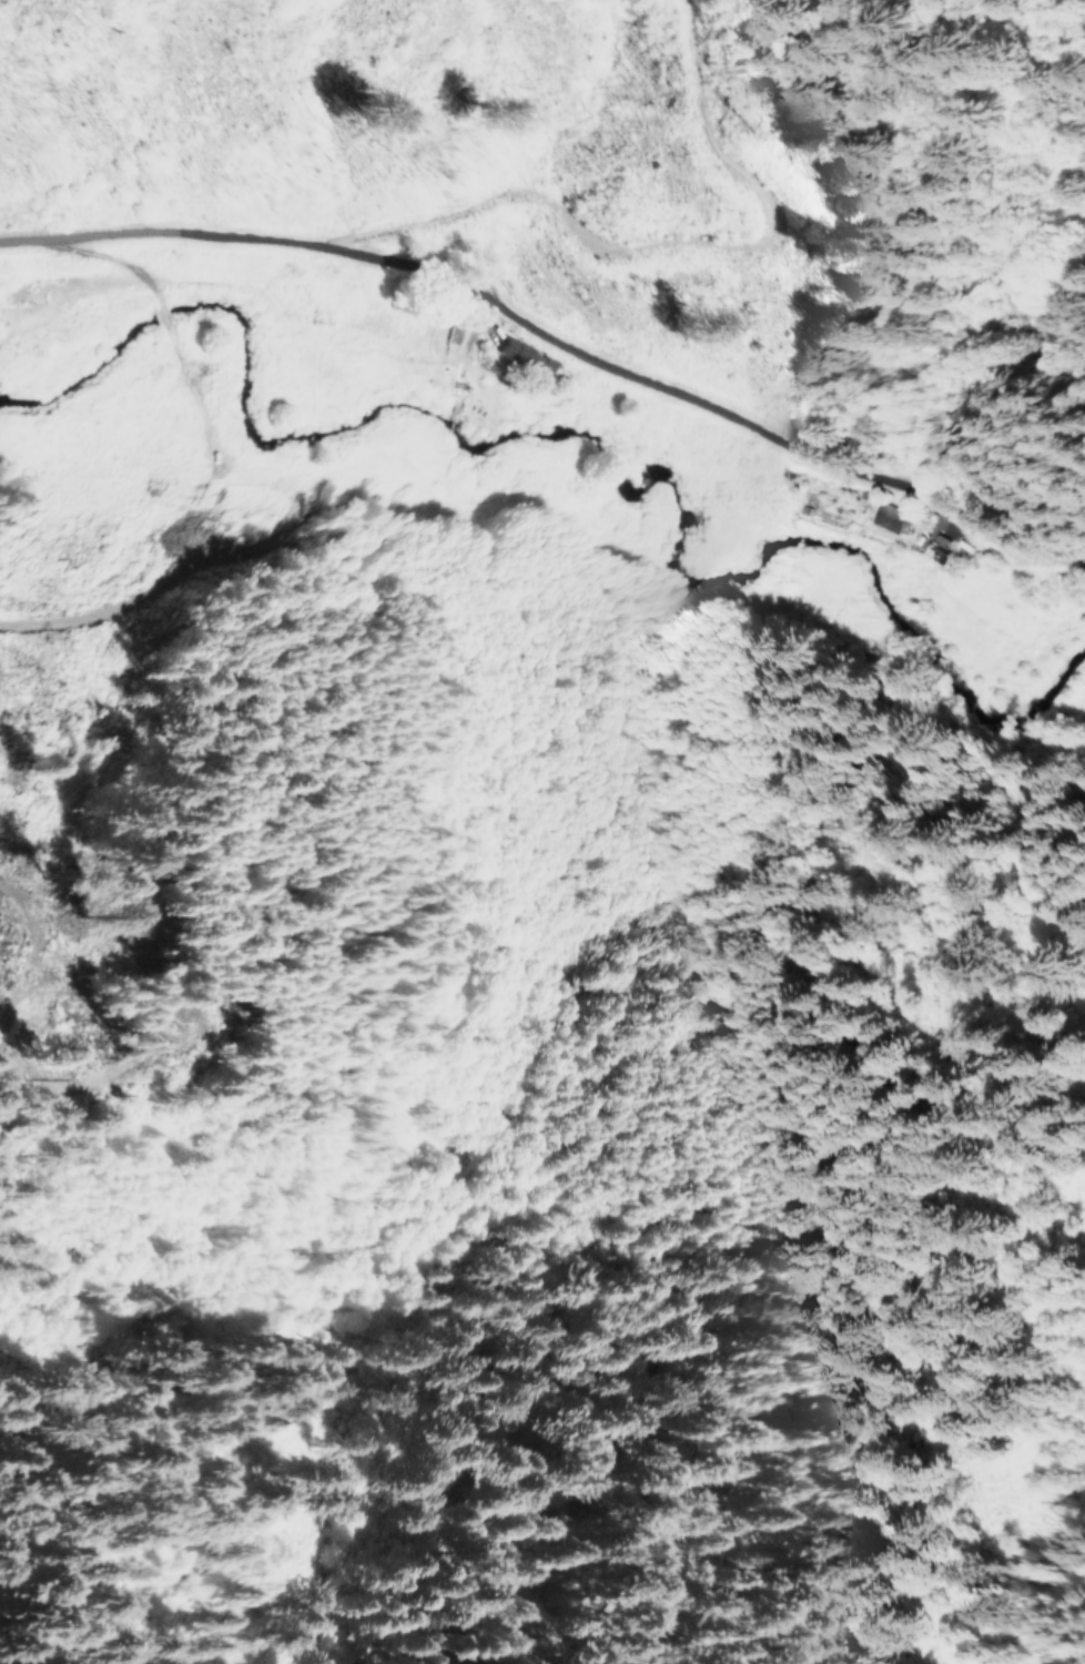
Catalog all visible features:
road: (554, 333)
building: (515, 353)
building: (888, 517)

